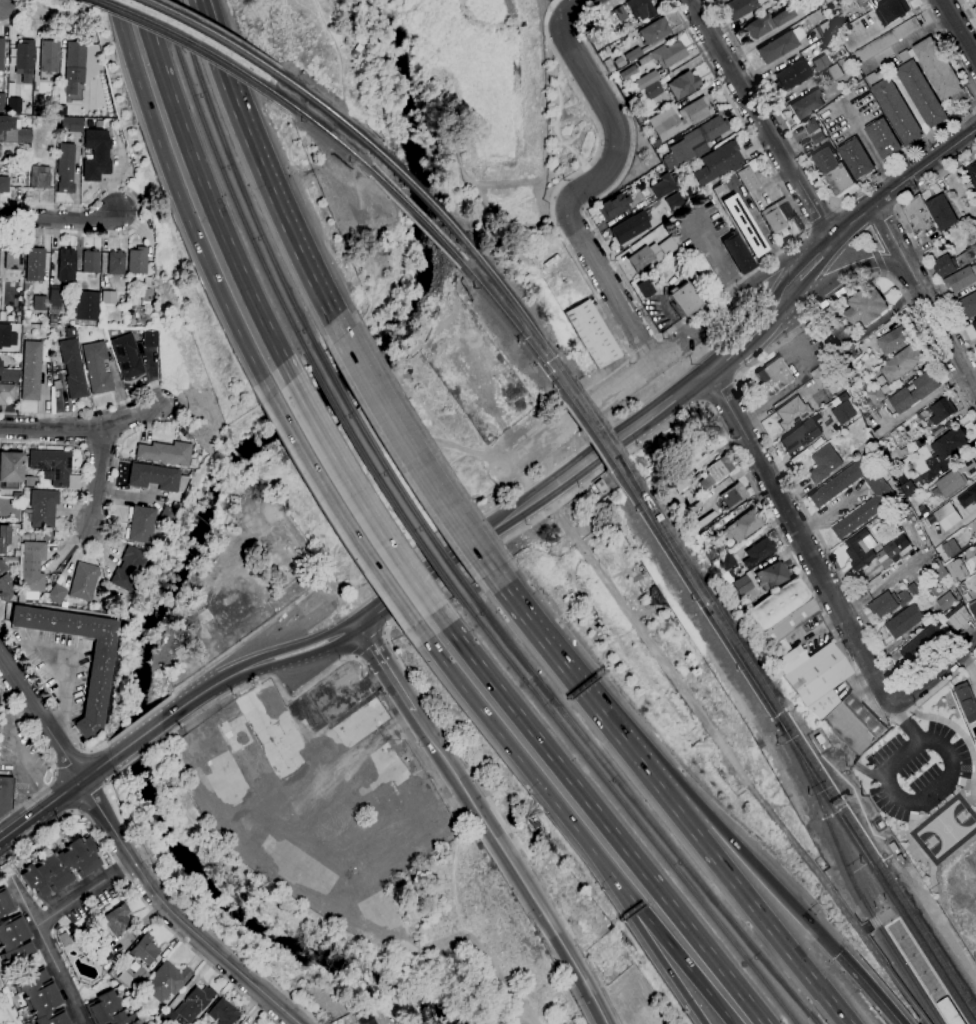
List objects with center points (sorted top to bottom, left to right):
building: (777, 0)
building: (975, 0)
building: (827, 1)
building: (863, 2)
building: (975, 2)
road: (564, 5)
road: (572, 8)
building: (640, 8)
building: (738, 8)
road: (31, 10)
road: (118, 10)
road: (202, 11)
building: (891, 11)
building: (974, 12)
building: (620, 13)
road: (967, 13)
road: (147, 17)
road: (12, 19)
building: (839, 21)
building: (766, 22)
railway: (199, 28)
road: (958, 30)
building: (654, 32)
railway: (182, 39)
building: (884, 40)
building: (831, 42)
building: (780, 45)
road: (948, 45)
road: (215, 47)
building: (1, 53)
building: (632, 54)
building: (49, 56)
building: (24, 59)
building: (660, 62)
building: (820, 62)
building: (74, 66)
building: (937, 68)
building: (834, 71)
building: (627, 72)
building: (792, 75)
building: (683, 84)
building: (919, 89)
building: (652, 90)
building: (2, 100)
railway: (318, 103)
building: (806, 104)
building: (14, 105)
building: (894, 108)
road: (761, 118)
building: (663, 119)
building: (6, 123)
building: (89, 123)
building: (71, 124)
railway: (318, 127)
building: (814, 131)
building: (23, 135)
building: (882, 138)
building: (696, 139)
building: (655, 143)
building: (0, 149)
building: (96, 152)
building: (855, 158)
building: (717, 162)
building: (65, 168)
road: (924, 168)
building: (833, 171)
building: (971, 171)
road: (817, 175)
building: (39, 177)
building: (677, 177)
building: (747, 178)
road: (934, 179)
railway: (238, 181)
building: (4, 184)
railway: (227, 184)
building: (661, 185)
building: (718, 189)
road: (580, 190)
railway: (420, 193)
road: (566, 200)
building: (674, 201)
road: (278, 205)
building: (613, 206)
road: (581, 207)
road: (834, 207)
road: (142, 208)
road: (215, 209)
road: (894, 211)
road: (185, 212)
building: (941, 212)
building: (917, 214)
railway: (416, 216)
building: (781, 218)
road: (821, 219)
road: (59, 220)
road: (881, 220)
road: (853, 221)
building: (744, 225)
building: (630, 227)
road: (807, 229)
road: (891, 236)
road: (871, 239)
road: (564, 241)
building: (651, 253)
building: (737, 253)
building: (966, 257)
road: (815, 259)
building: (11, 260)
building: (137, 260)
road: (877, 260)
building: (90, 261)
building: (116, 262)
building: (34, 264)
building: (679, 264)
building: (66, 266)
building: (943, 266)
building: (705, 273)
road: (883, 274)
building: (961, 278)
road: (836, 283)
road: (936, 284)
building: (645, 288)
road: (740, 293)
building: (146, 294)
building: (55, 296)
building: (108, 297)
building: (684, 298)
road: (781, 298)
building: (39, 303)
building: (86, 305)
building: (129, 305)
building: (967, 305)
building: (865, 306)
railway: (517, 308)
building: (52, 319)
building: (974, 325)
railway: (512, 326)
road: (675, 327)
road: (942, 330)
building: (70, 332)
building: (592, 333)
building: (6, 336)
building: (150, 338)
building: (893, 340)
road: (739, 343)
building: (126, 356)
building: (901, 363)
building: (97, 367)
building: (72, 368)
building: (31, 370)
building: (817, 370)
building: (9, 373)
building: (773, 376)
building: (850, 377)
building: (823, 378)
road: (736, 379)
road: (717, 389)
building: (913, 392)
building: (6, 393)
building: (876, 396)
road: (701, 402)
building: (942, 410)
road: (83, 411)
road: (587, 411)
building: (792, 413)
building: (843, 413)
road: (753, 416)
railway: (593, 420)
road: (82, 427)
building: (838, 429)
building: (800, 435)
building: (187, 436)
railway: (592, 436)
road: (729, 439)
building: (920, 441)
building: (868, 443)
building: (948, 443)
building: (165, 453)
road: (415, 454)
building: (896, 455)
building: (823, 463)
building: (51, 465)
railway: (623, 467)
railway: (624, 467)
building: (10, 469)
building: (716, 471)
road: (98, 474)
railway: (388, 474)
building: (156, 477)
building: (955, 478)
railway: (380, 480)
building: (28, 481)
building: (680, 484)
building: (38, 485)
building: (601, 485)
building: (906, 486)
road: (361, 495)
building: (732, 495)
building: (967, 496)
road: (535, 498)
building: (883, 498)
building: (697, 505)
building: (43, 508)
road: (340, 511)
road: (828, 511)
building: (975, 515)
building: (168, 516)
building: (947, 516)
building: (142, 524)
building: (743, 525)
building: (706, 535)
road: (800, 536)
building: (3, 537)
road: (82, 545)
railway: (667, 546)
building: (950, 547)
railway: (665, 548)
building: (874, 550)
river: (193, 552)
building: (759, 552)
building: (713, 553)
building: (135, 560)
building: (32, 566)
building: (726, 567)
building: (957, 570)
building: (935, 573)
building: (773, 574)
building: (122, 579)
building: (16, 580)
building: (4, 582)
building: (83, 582)
building: (743, 584)
building: (56, 594)
building: (21, 596)
building: (903, 597)
building: (946, 601)
building: (116, 602)
building: (882, 605)
building: (973, 608)
building: (782, 614)
road: (528, 617)
building: (958, 617)
building: (903, 621)
road: (284, 629)
road: (384, 632)
road: (306, 643)
road: (368, 643)
building: (923, 644)
road: (236, 645)
road: (310, 654)
road: (354, 657)
railway: (742, 668)
road: (386, 669)
road: (935, 673)
building: (814, 676)
road: (265, 677)
building: (98, 678)
road: (206, 690)
road: (48, 698)
building: (966, 702)
road: (40, 718)
road: (906, 722)
road: (134, 723)
building: (853, 723)
road: (495, 727)
road: (136, 739)
railway: (803, 745)
road: (91, 751)
road: (20, 753)
road: (138, 756)
road: (49, 759)
road: (733, 759)
road: (73, 761)
road: (450, 763)
road: (96, 769)
parking lot: (917, 770)
road: (55, 771)
road: (106, 781)
road: (110, 791)
building: (6, 795)
road: (88, 795)
road: (922, 801)
railway: (639, 807)
railway: (626, 808)
road: (702, 808)
road: (41, 811)
road: (72, 811)
road: (602, 816)
road: (503, 824)
park: (945, 829)
railway: (834, 840)
road: (706, 843)
building: (62, 866)
railway: (874, 874)
road: (137, 892)
road: (85, 893)
road: (175, 915)
road: (547, 919)
railway: (895, 919)
building: (117, 920)
road: (641, 926)
road: (656, 926)
building: (12, 933)
building: (65, 939)
road: (481, 947)
building: (144, 949)
road: (49, 951)
traffic signals: (839, 954)
building: (133, 977)
building: (165, 981)
road: (871, 988)
railway: (917, 989)
road: (286, 992)
building: (41, 997)
building: (189, 1005)
building: (109, 1010)
building: (222, 1012)
building: (949, 1012)
building: (369, 1021)

